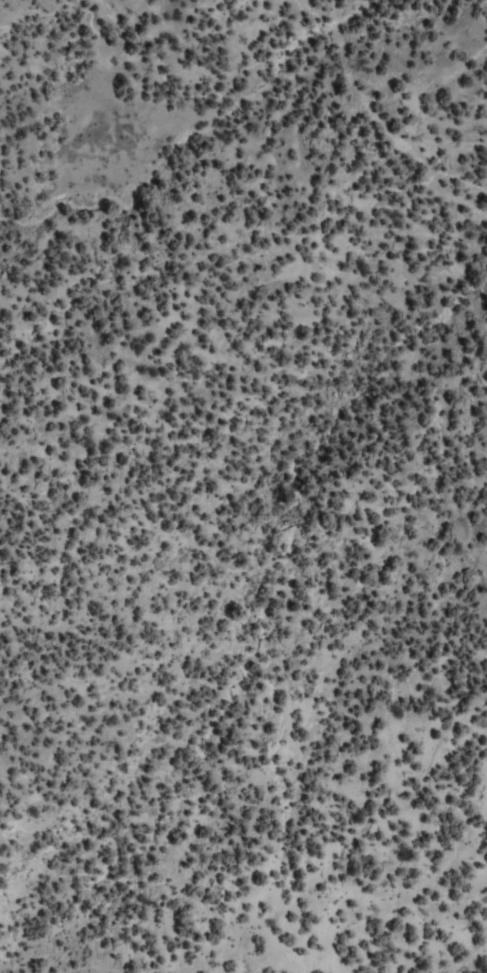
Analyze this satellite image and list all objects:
road: (436, 486)

